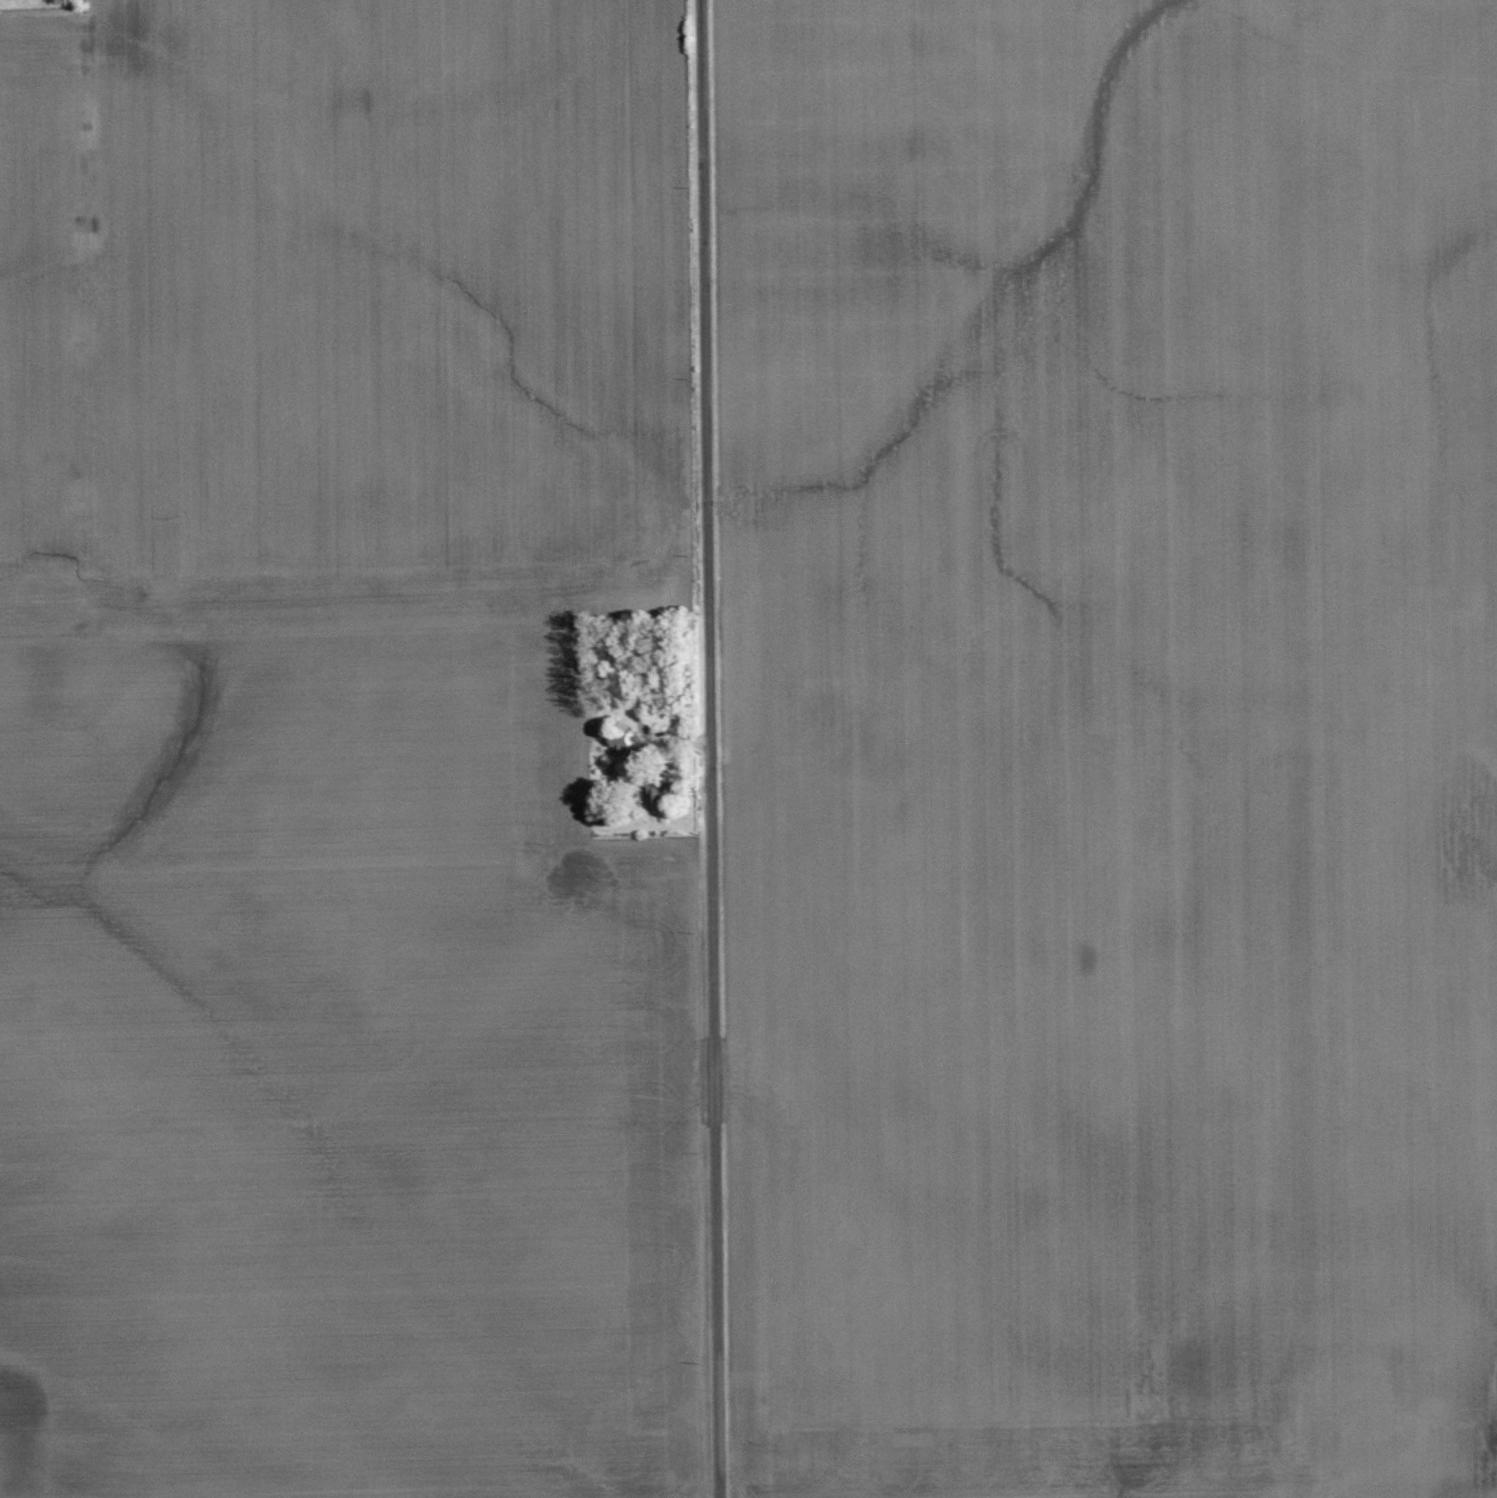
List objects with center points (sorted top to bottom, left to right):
crop: (38, 321)
building: (622, 740)
road: (709, 749)
building: (668, 784)

